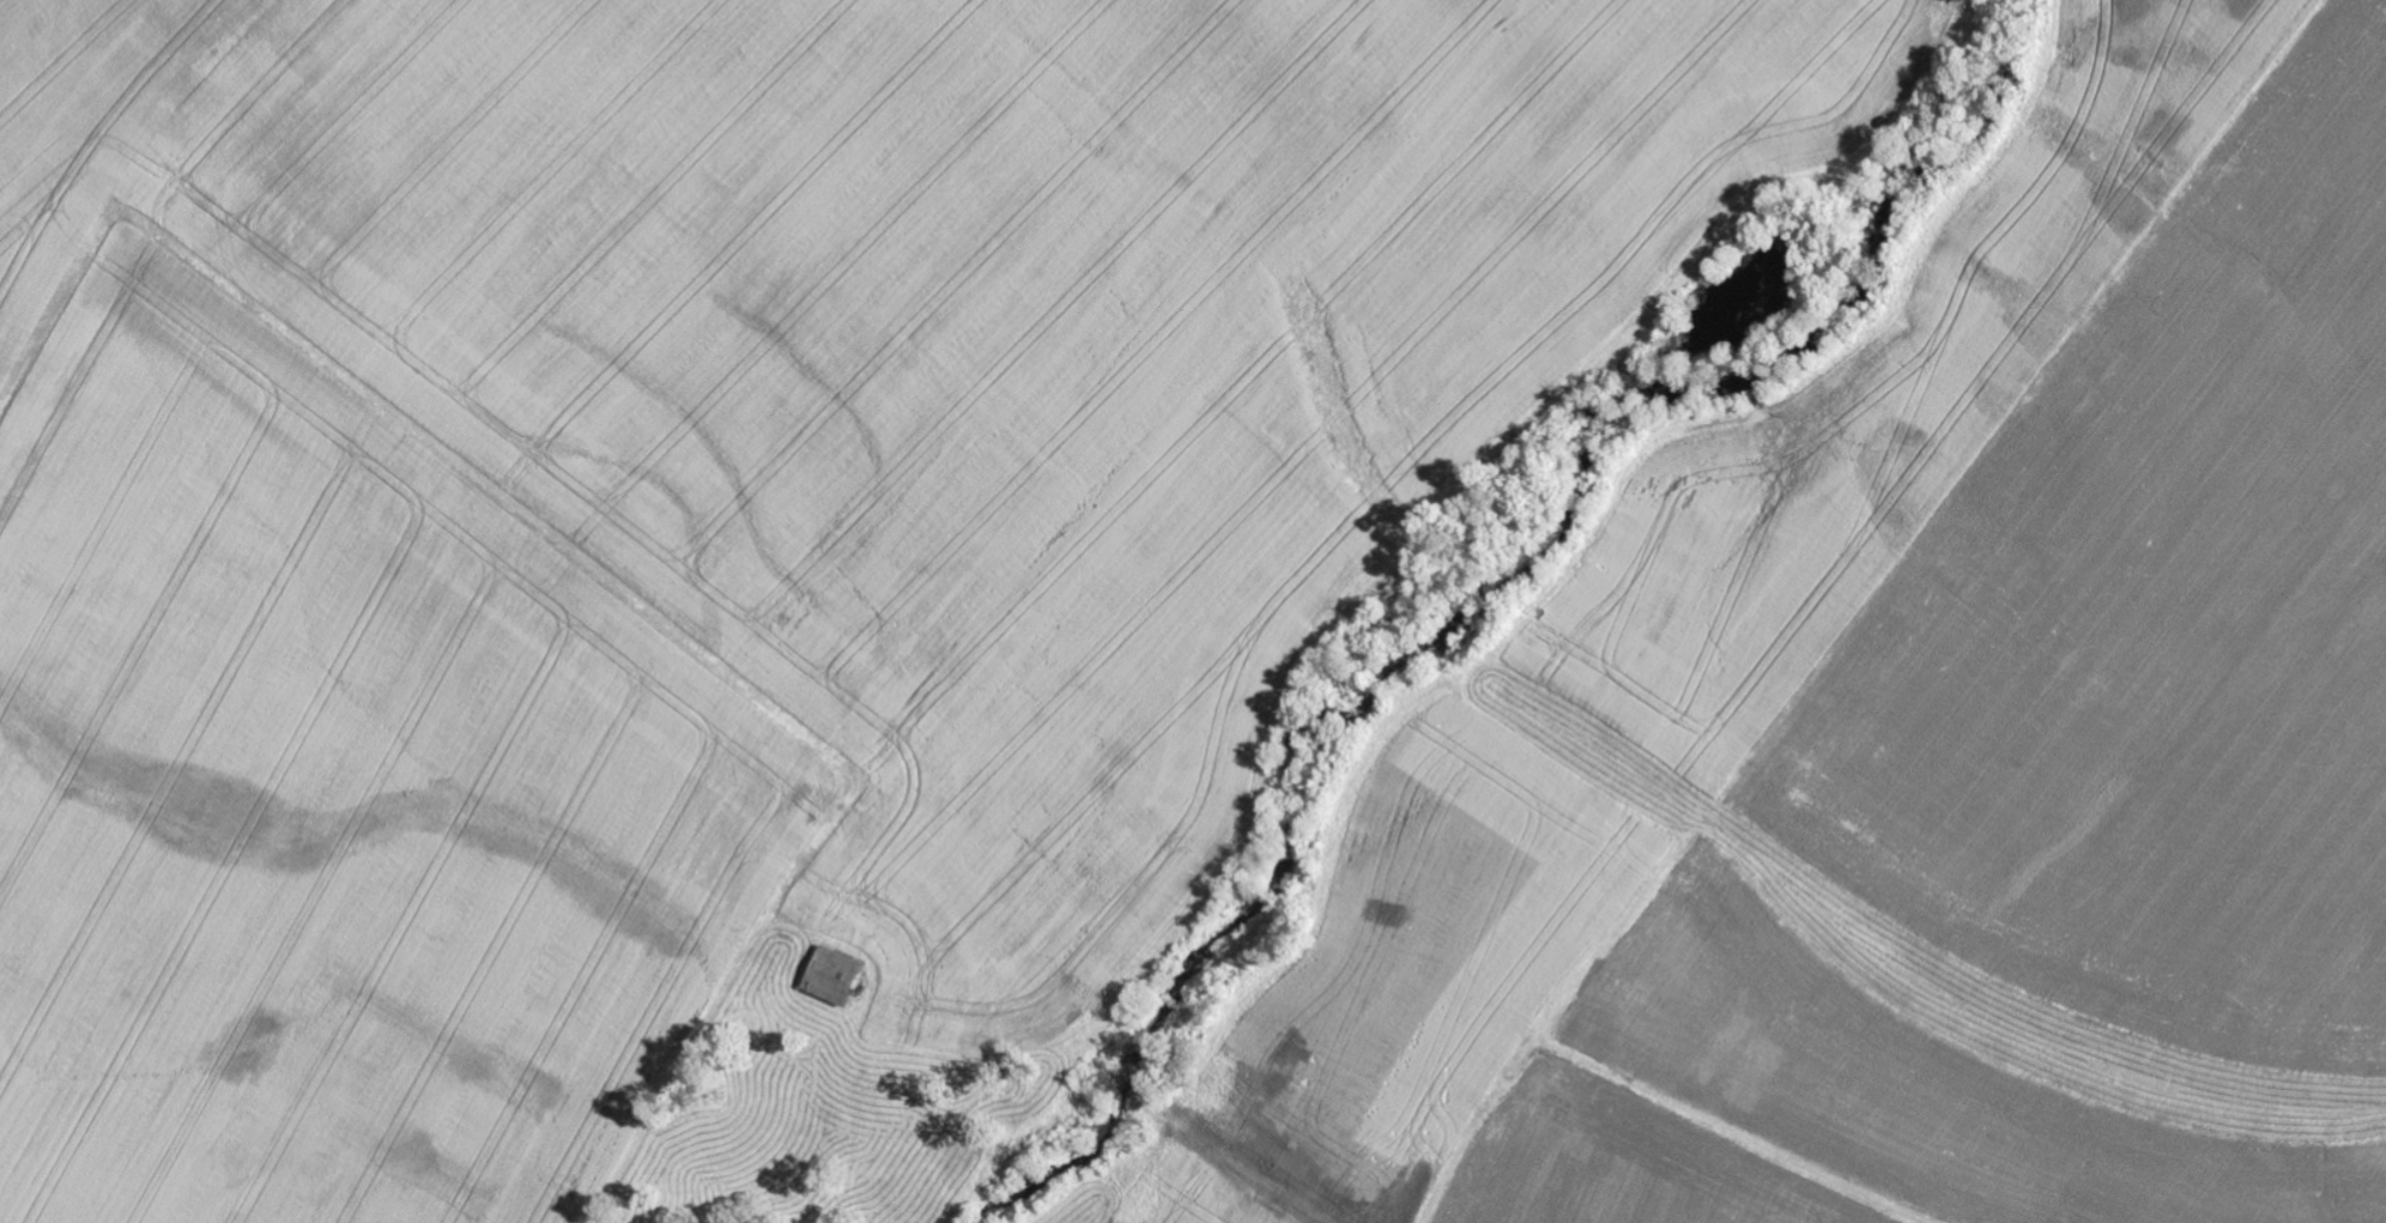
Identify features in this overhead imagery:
river: (1468, 592)
building: (835, 976)

